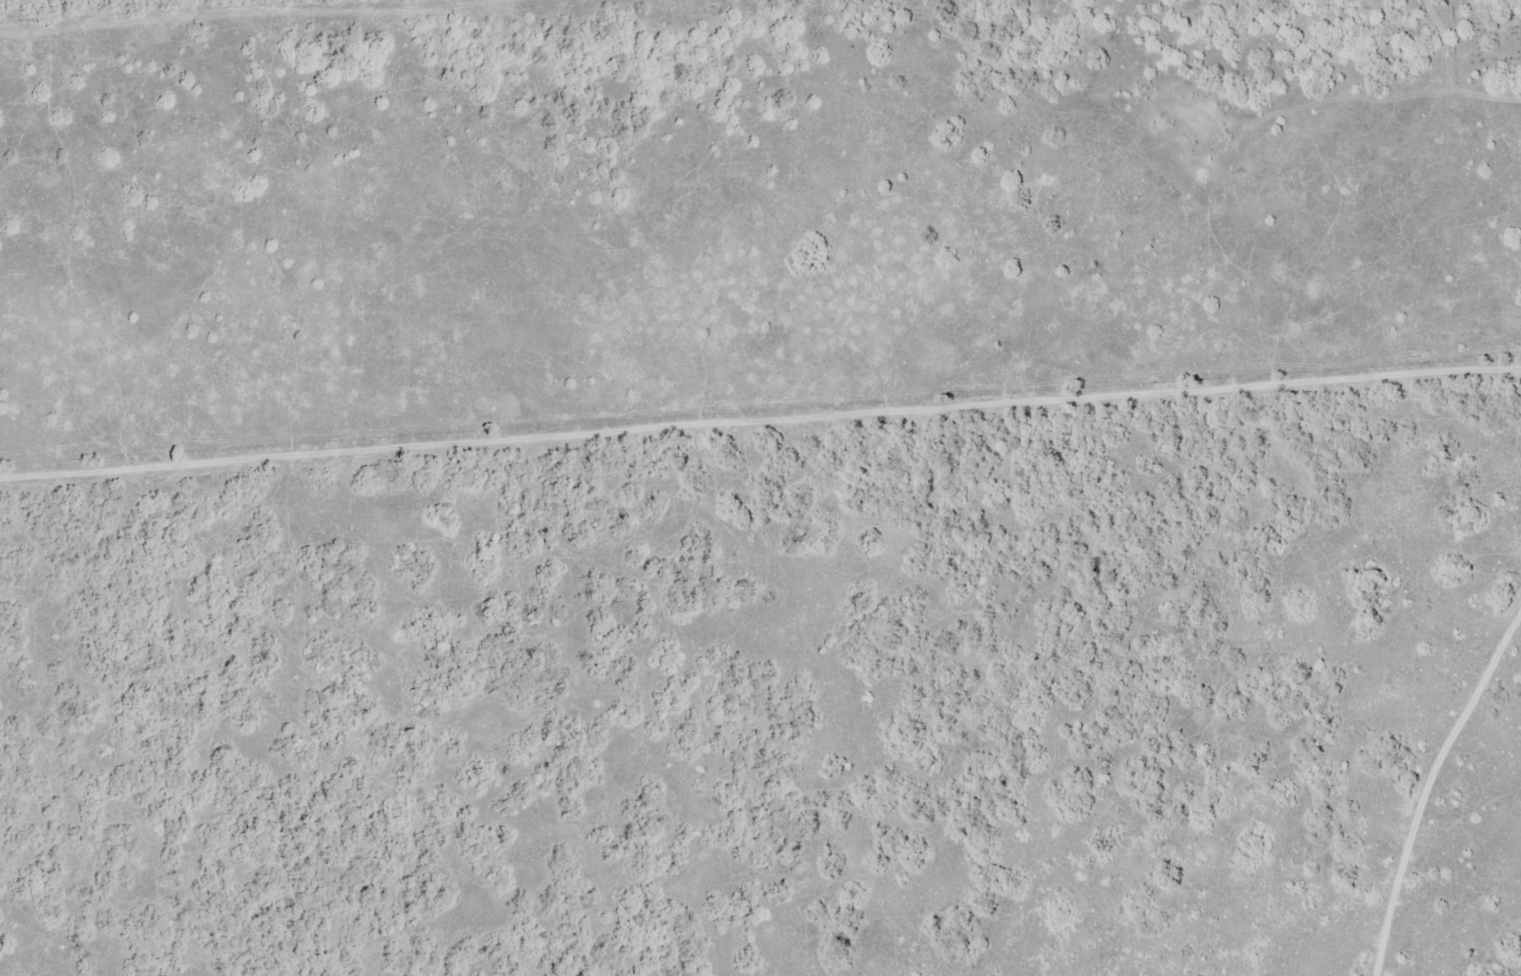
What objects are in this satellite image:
road: (1424, 779)

